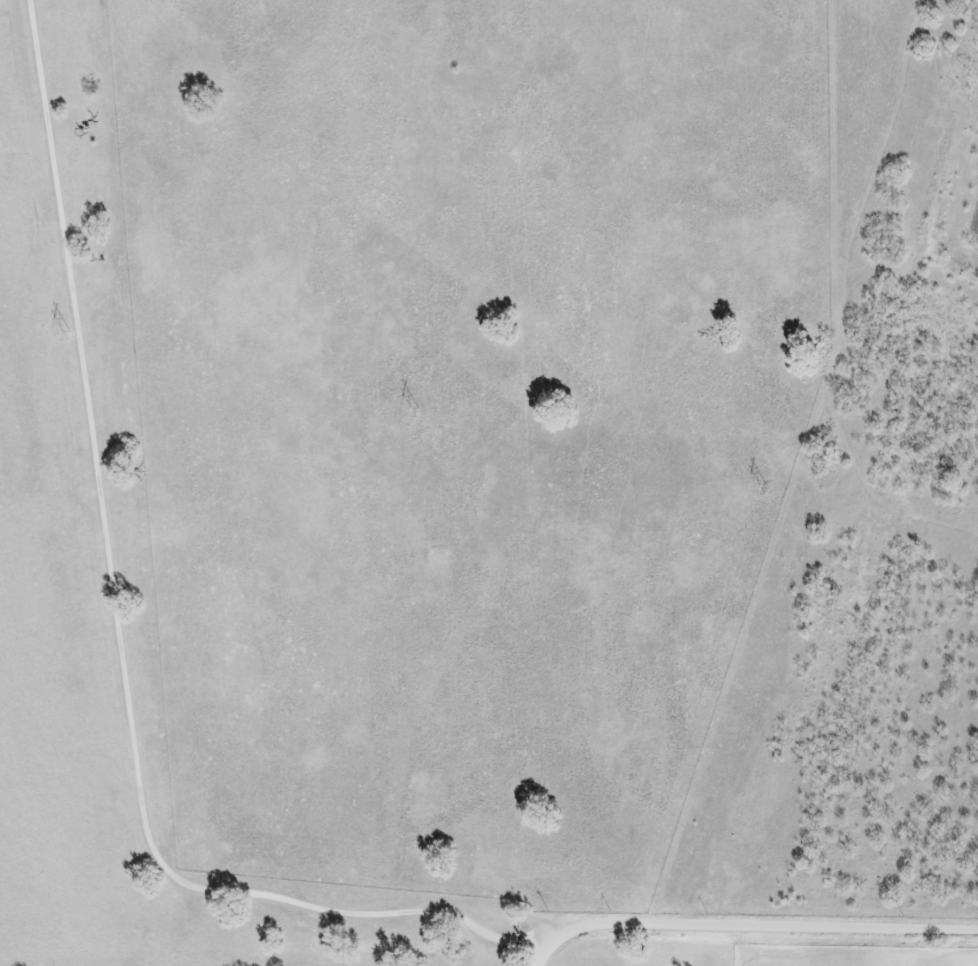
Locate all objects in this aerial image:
power tower: (69, 337)
power tower: (412, 415)
power tower: (765, 490)
road: (117, 642)
road: (749, 922)

